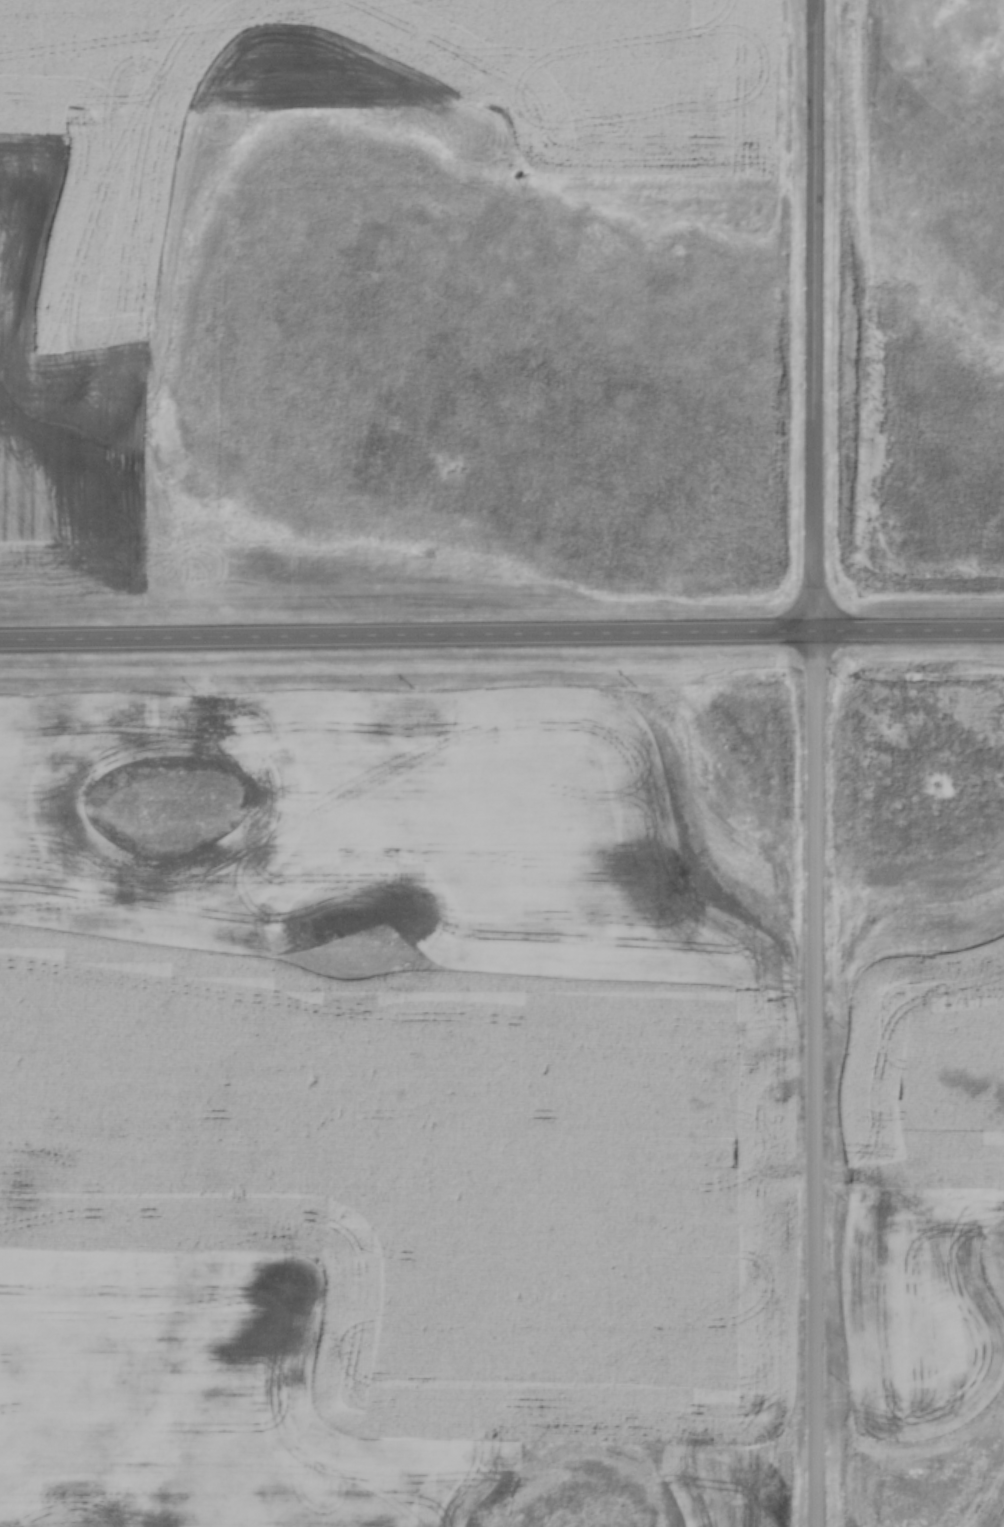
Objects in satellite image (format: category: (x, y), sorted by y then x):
road: (813, 318)
road: (501, 641)
road: (816, 1081)

